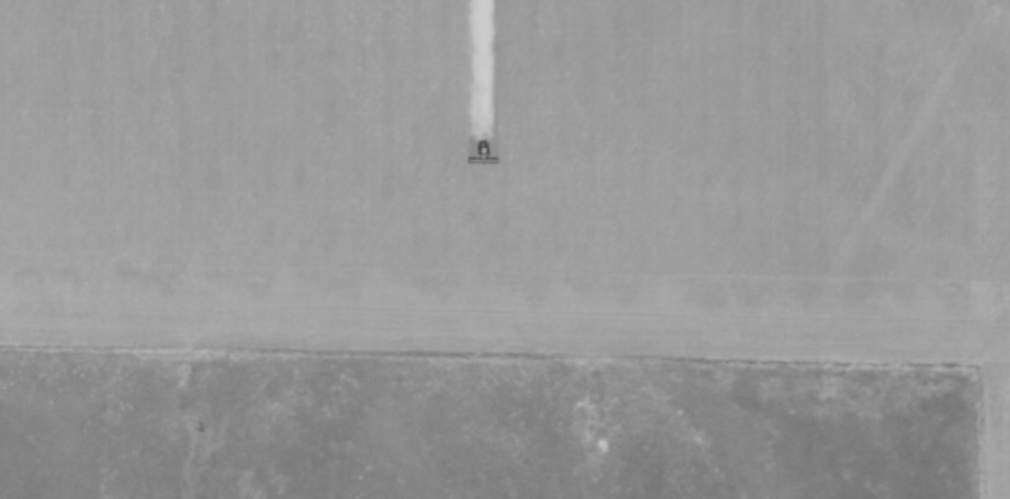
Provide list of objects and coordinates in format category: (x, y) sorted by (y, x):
crop: (517, 181)

